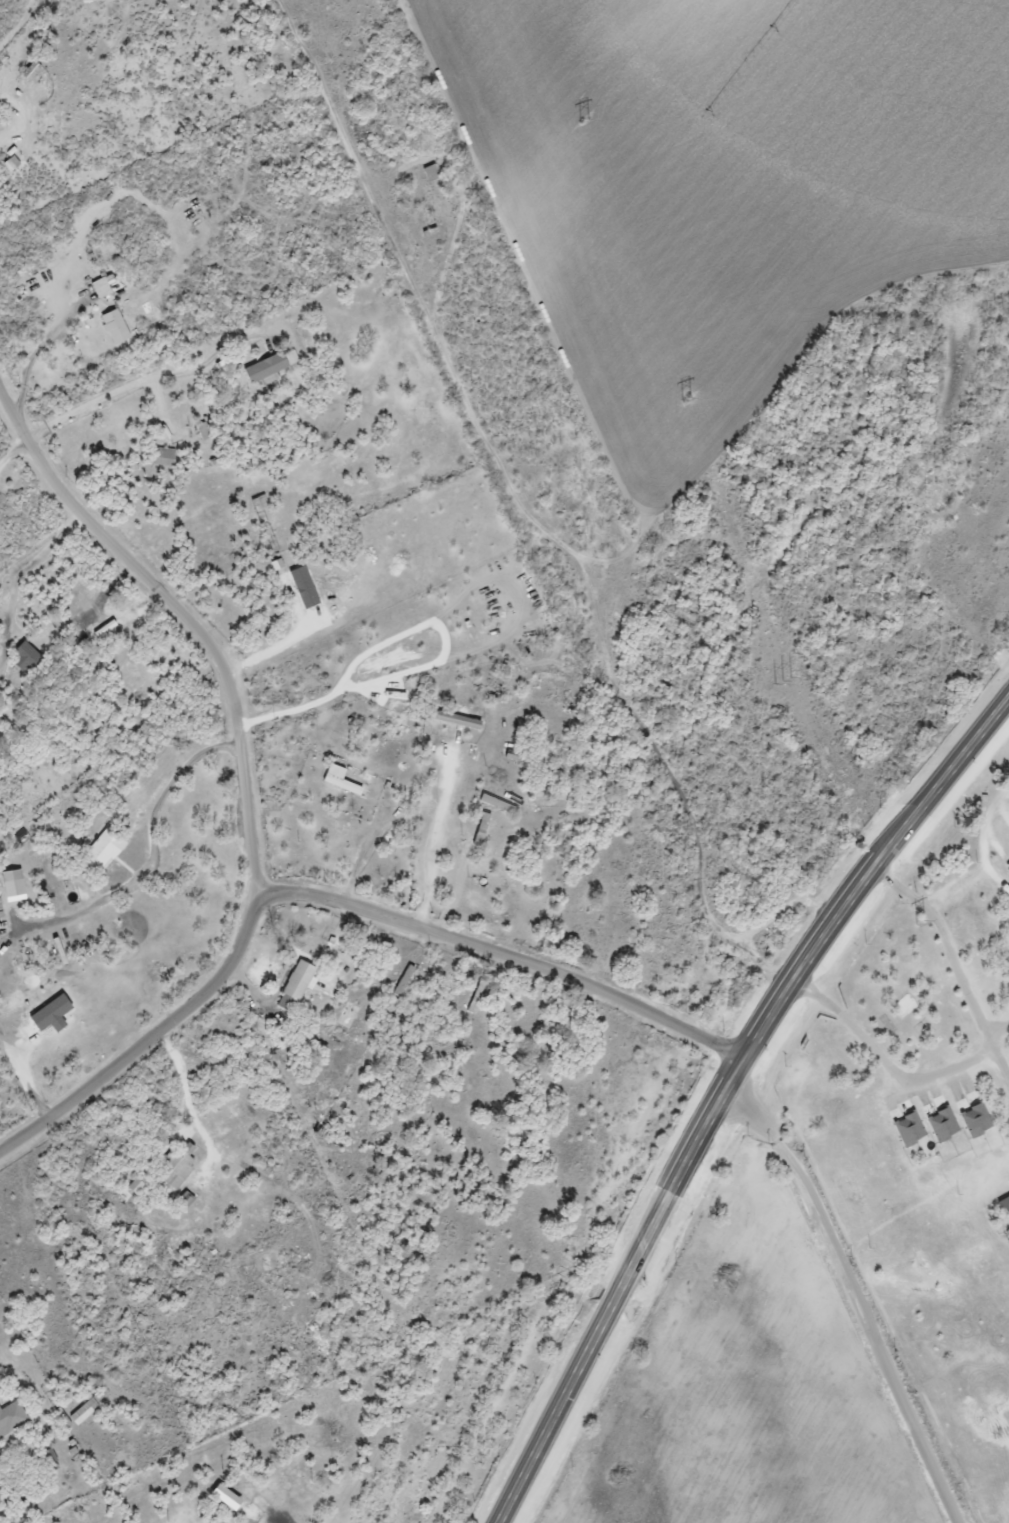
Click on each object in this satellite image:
building: (28, 72)
power tower: (584, 121)
building: (9, 165)
building: (430, 195)
building: (98, 289)
building: (113, 328)
building: (264, 369)
power tower: (687, 401)
building: (163, 458)
building: (933, 499)
road: (181, 610)
building: (100, 633)
building: (25, 657)
power tower: (786, 681)
building: (456, 722)
building: (340, 786)
building: (496, 806)
building: (100, 852)
building: (11, 885)
power tower: (923, 924)
road: (508, 955)
building: (401, 982)
building: (294, 988)
road: (154, 1039)
road: (727, 1094)
building: (225, 1111)
building: (176, 1167)
building: (134, 1187)
road: (862, 1296)
building: (316, 1301)
building: (82, 1413)
building: (11, 1419)
building: (178, 1515)

